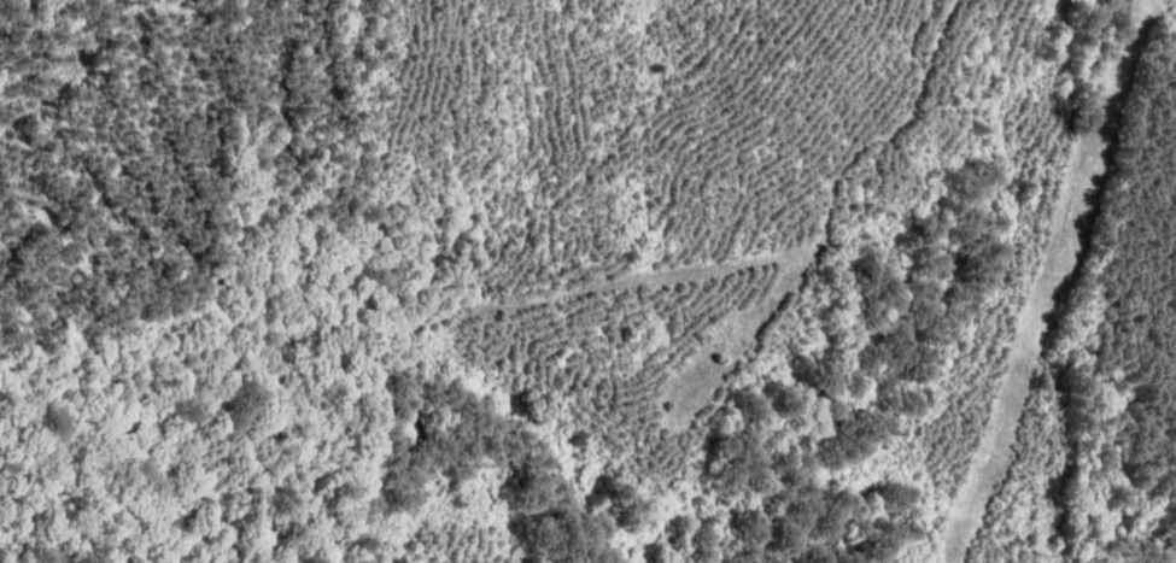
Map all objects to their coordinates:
road: (1153, 34)

